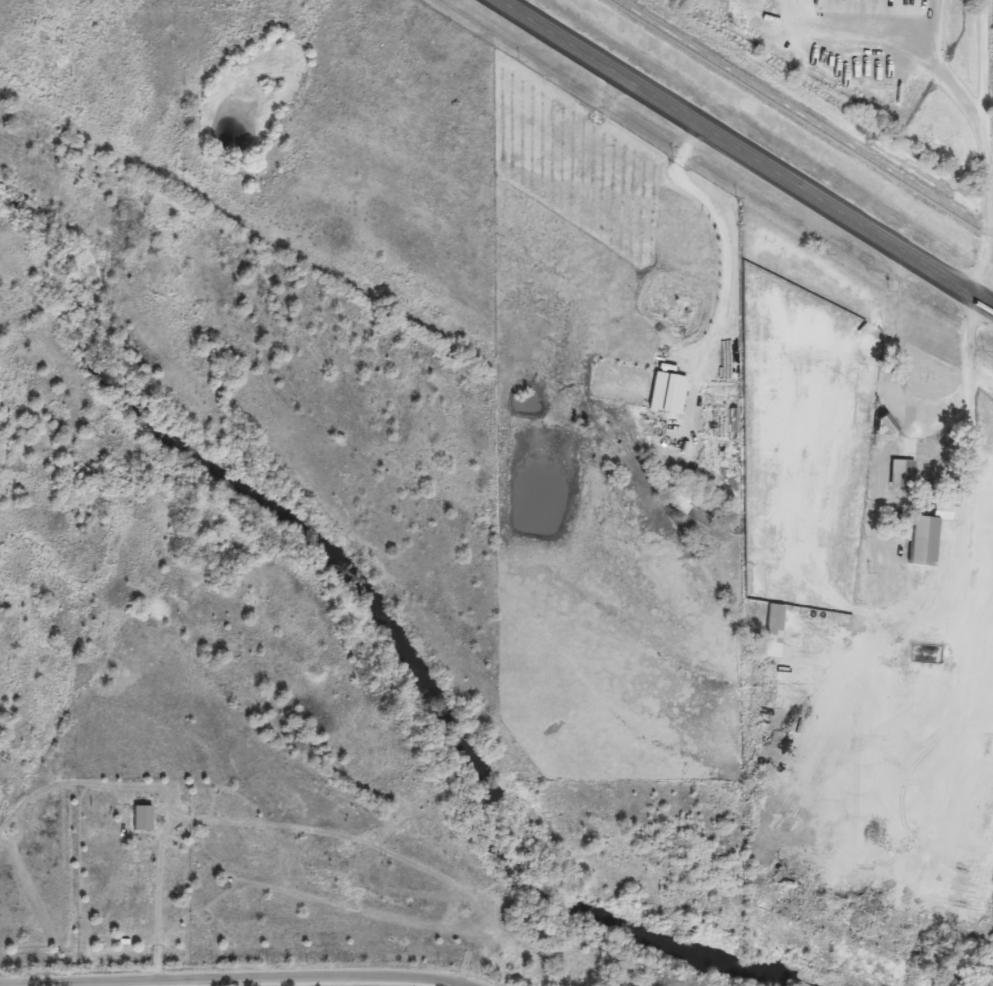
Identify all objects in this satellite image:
road: (905, 9)
road: (846, 12)
road: (940, 69)
railway: (804, 118)
road: (986, 150)
road: (741, 155)
road: (990, 185)
road: (725, 235)
road: (981, 373)
building: (665, 394)
road: (910, 403)
building: (880, 427)
building: (917, 460)
building: (925, 533)
building: (771, 632)
building: (140, 818)
road: (153, 911)
road: (228, 982)

